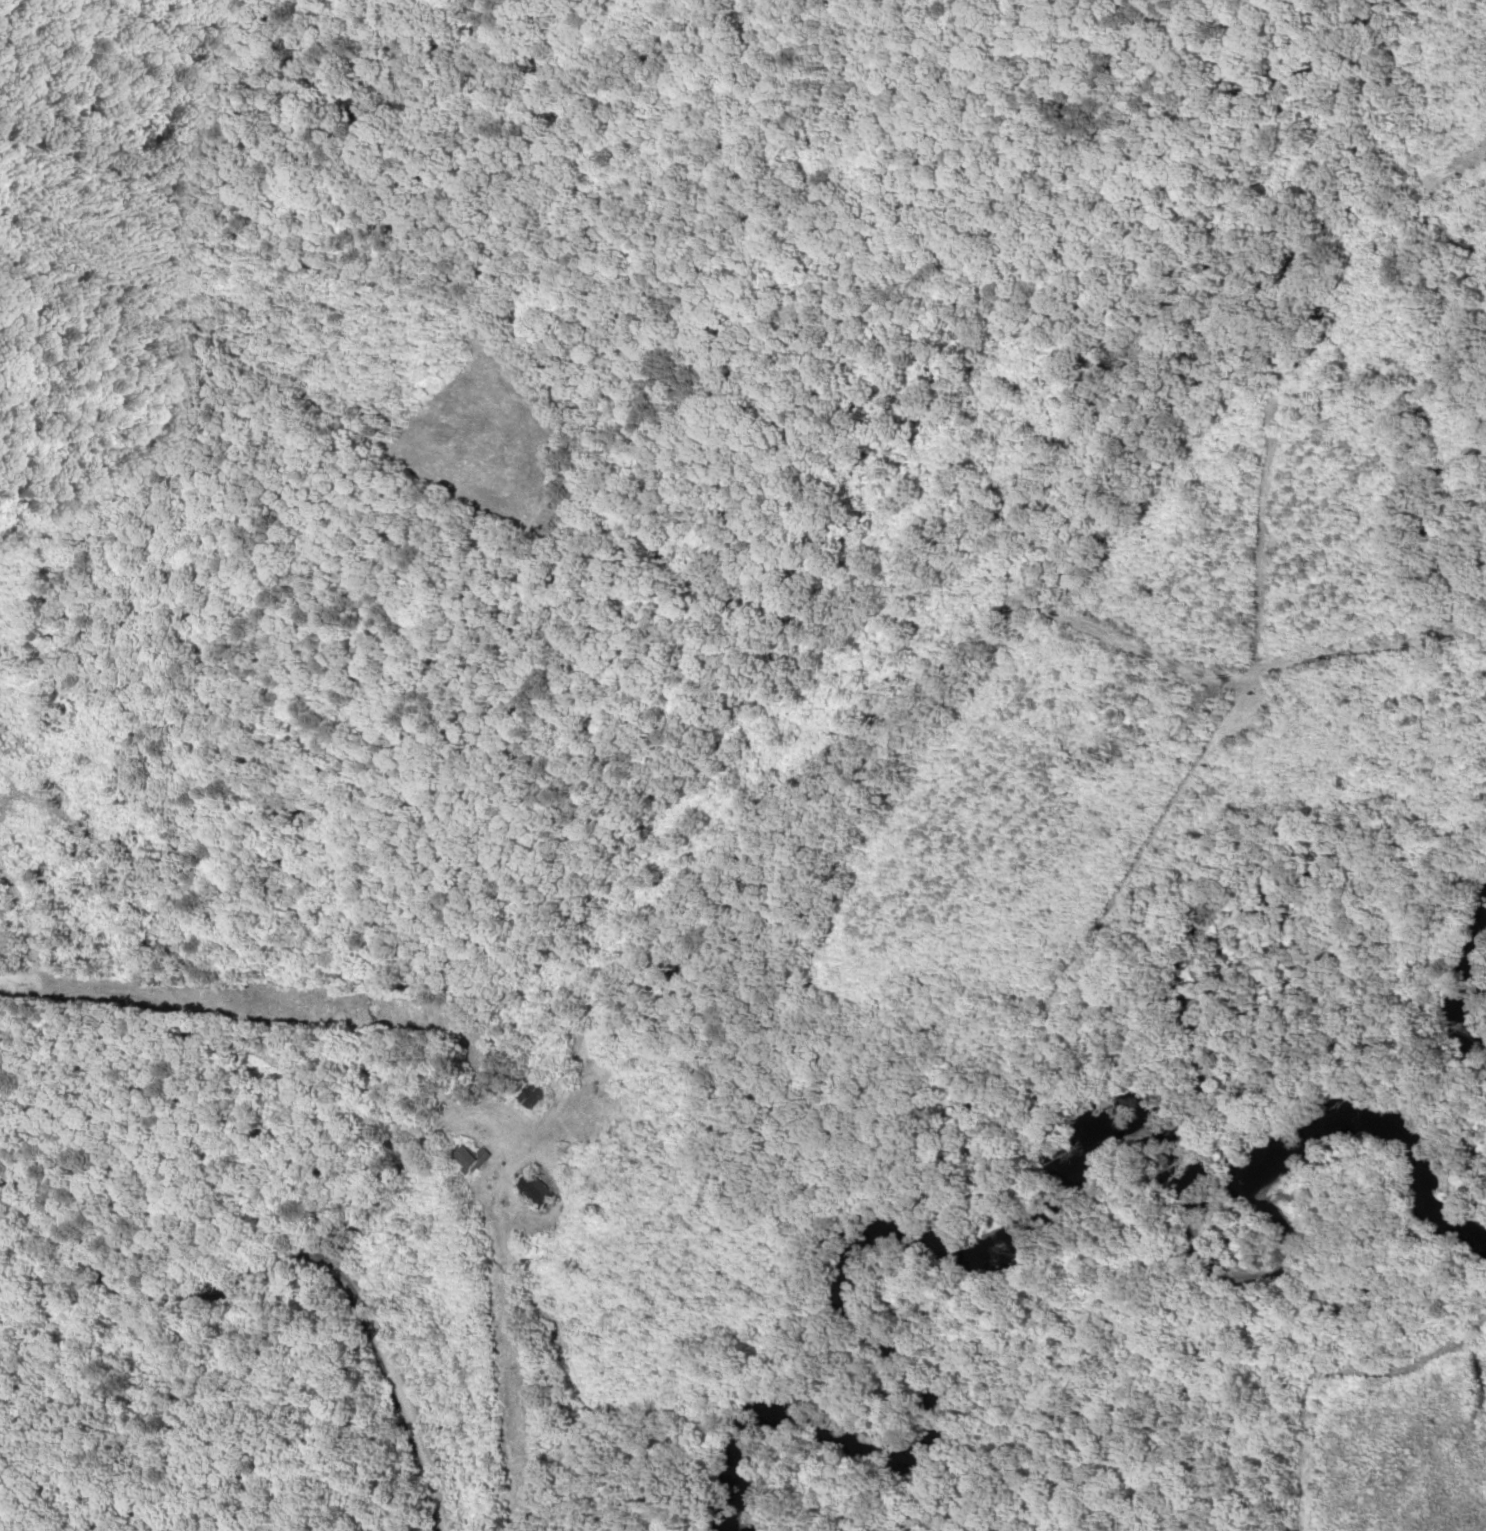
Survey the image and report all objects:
building: (548, 1096)
building: (483, 1154)
building: (556, 1187)
road: (291, 1274)

